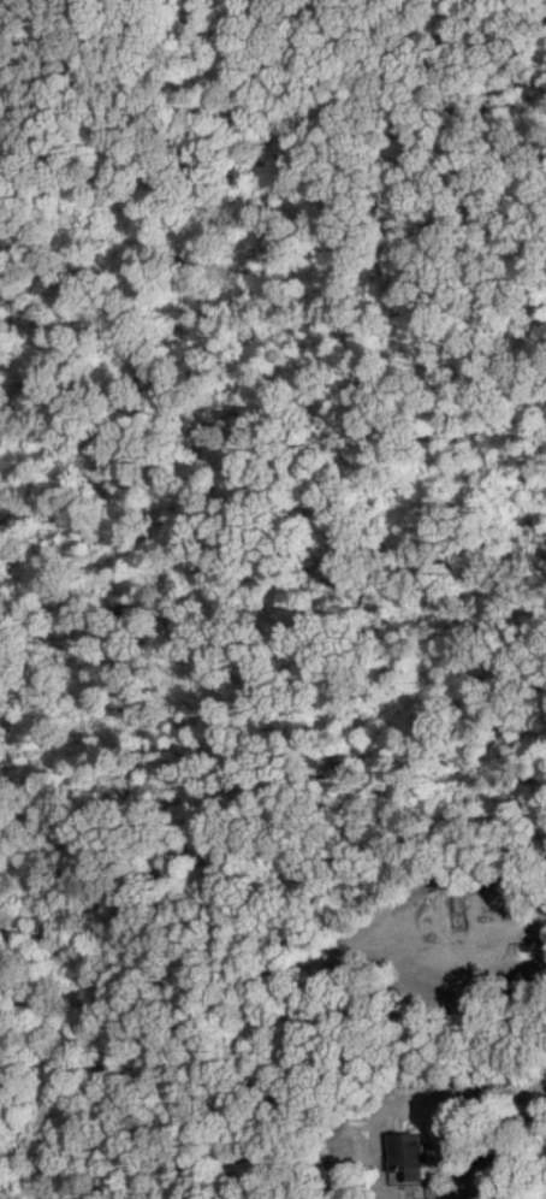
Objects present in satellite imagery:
building: (399, 1153)

